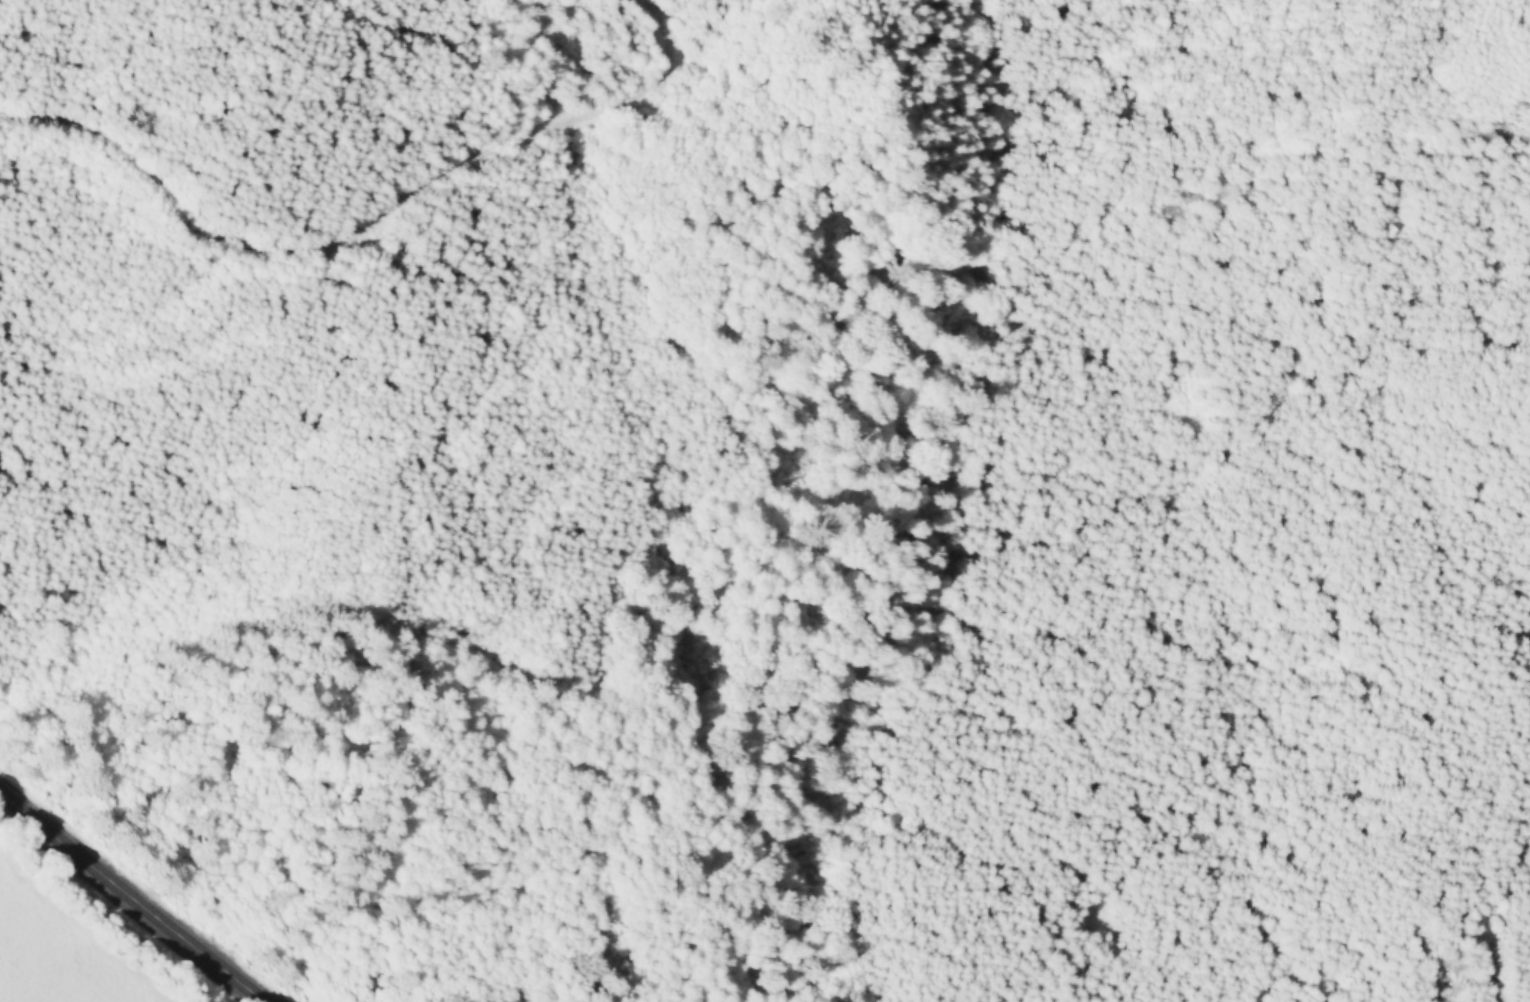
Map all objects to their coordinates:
road: (134, 897)

